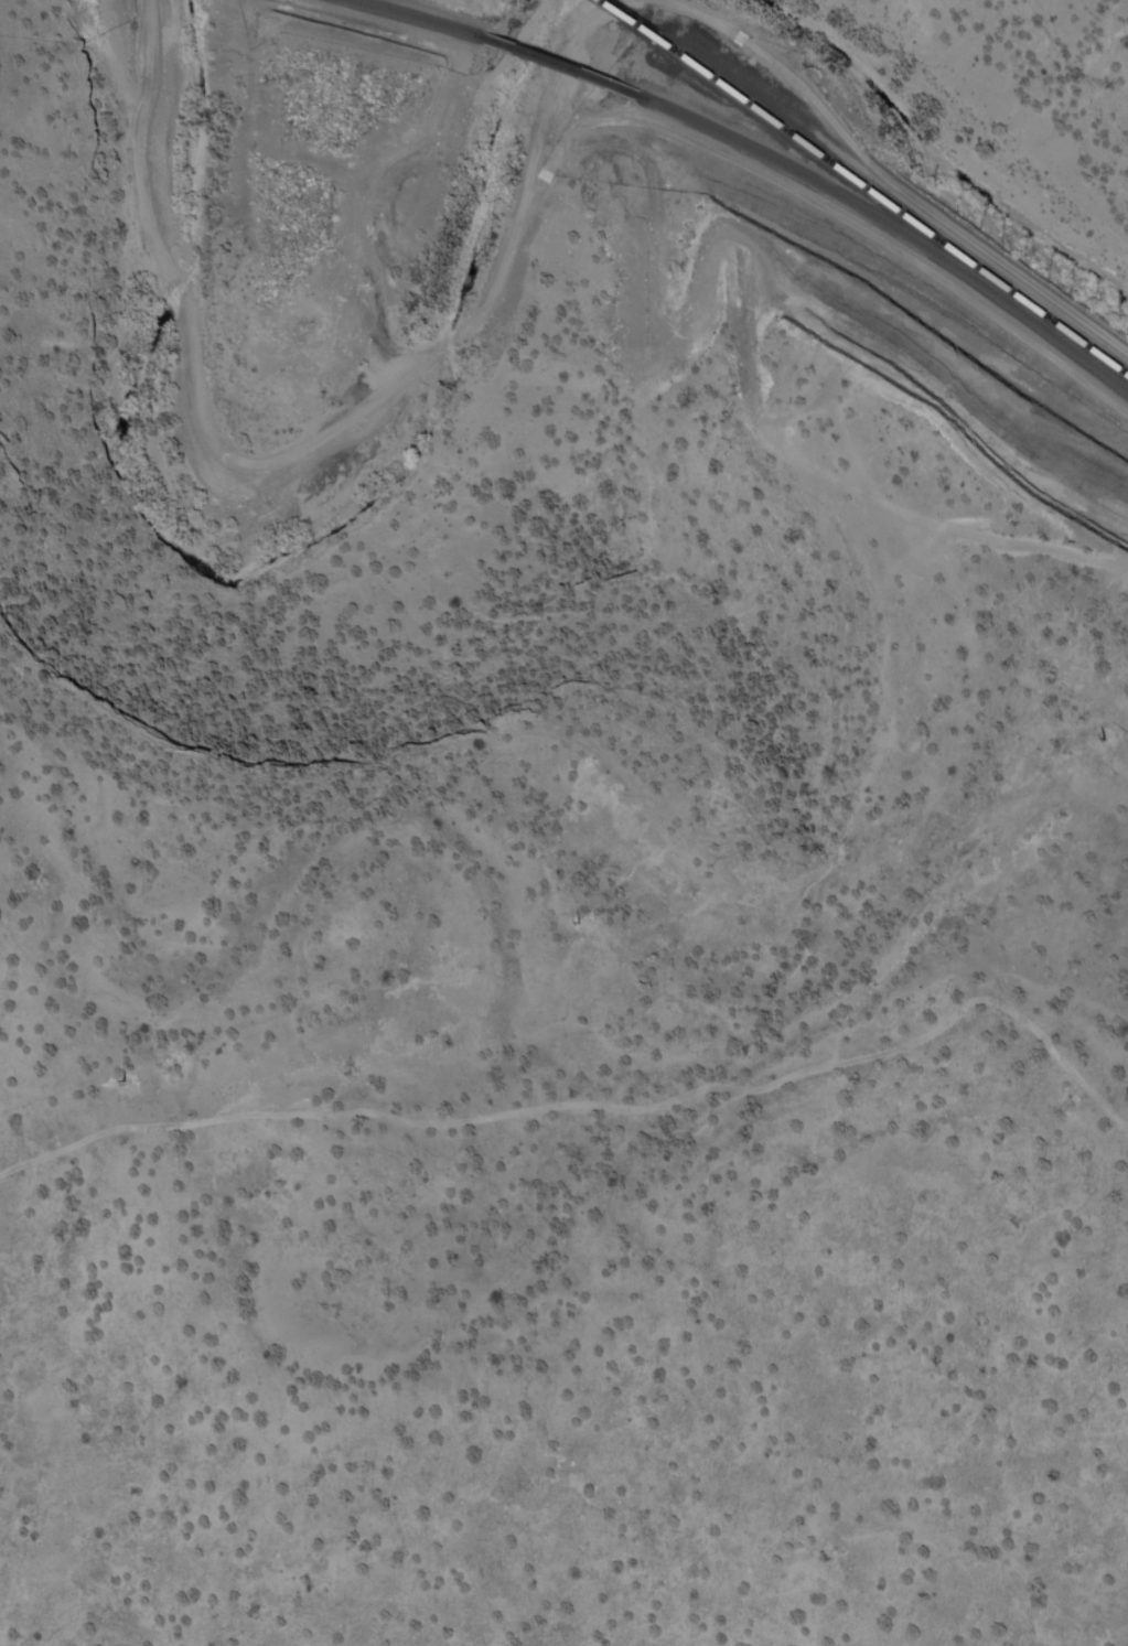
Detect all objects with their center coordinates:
railway: (405, 18)
railway: (622, 22)
railway: (558, 71)
railway: (892, 212)
railway: (895, 234)
road: (598, 1104)

